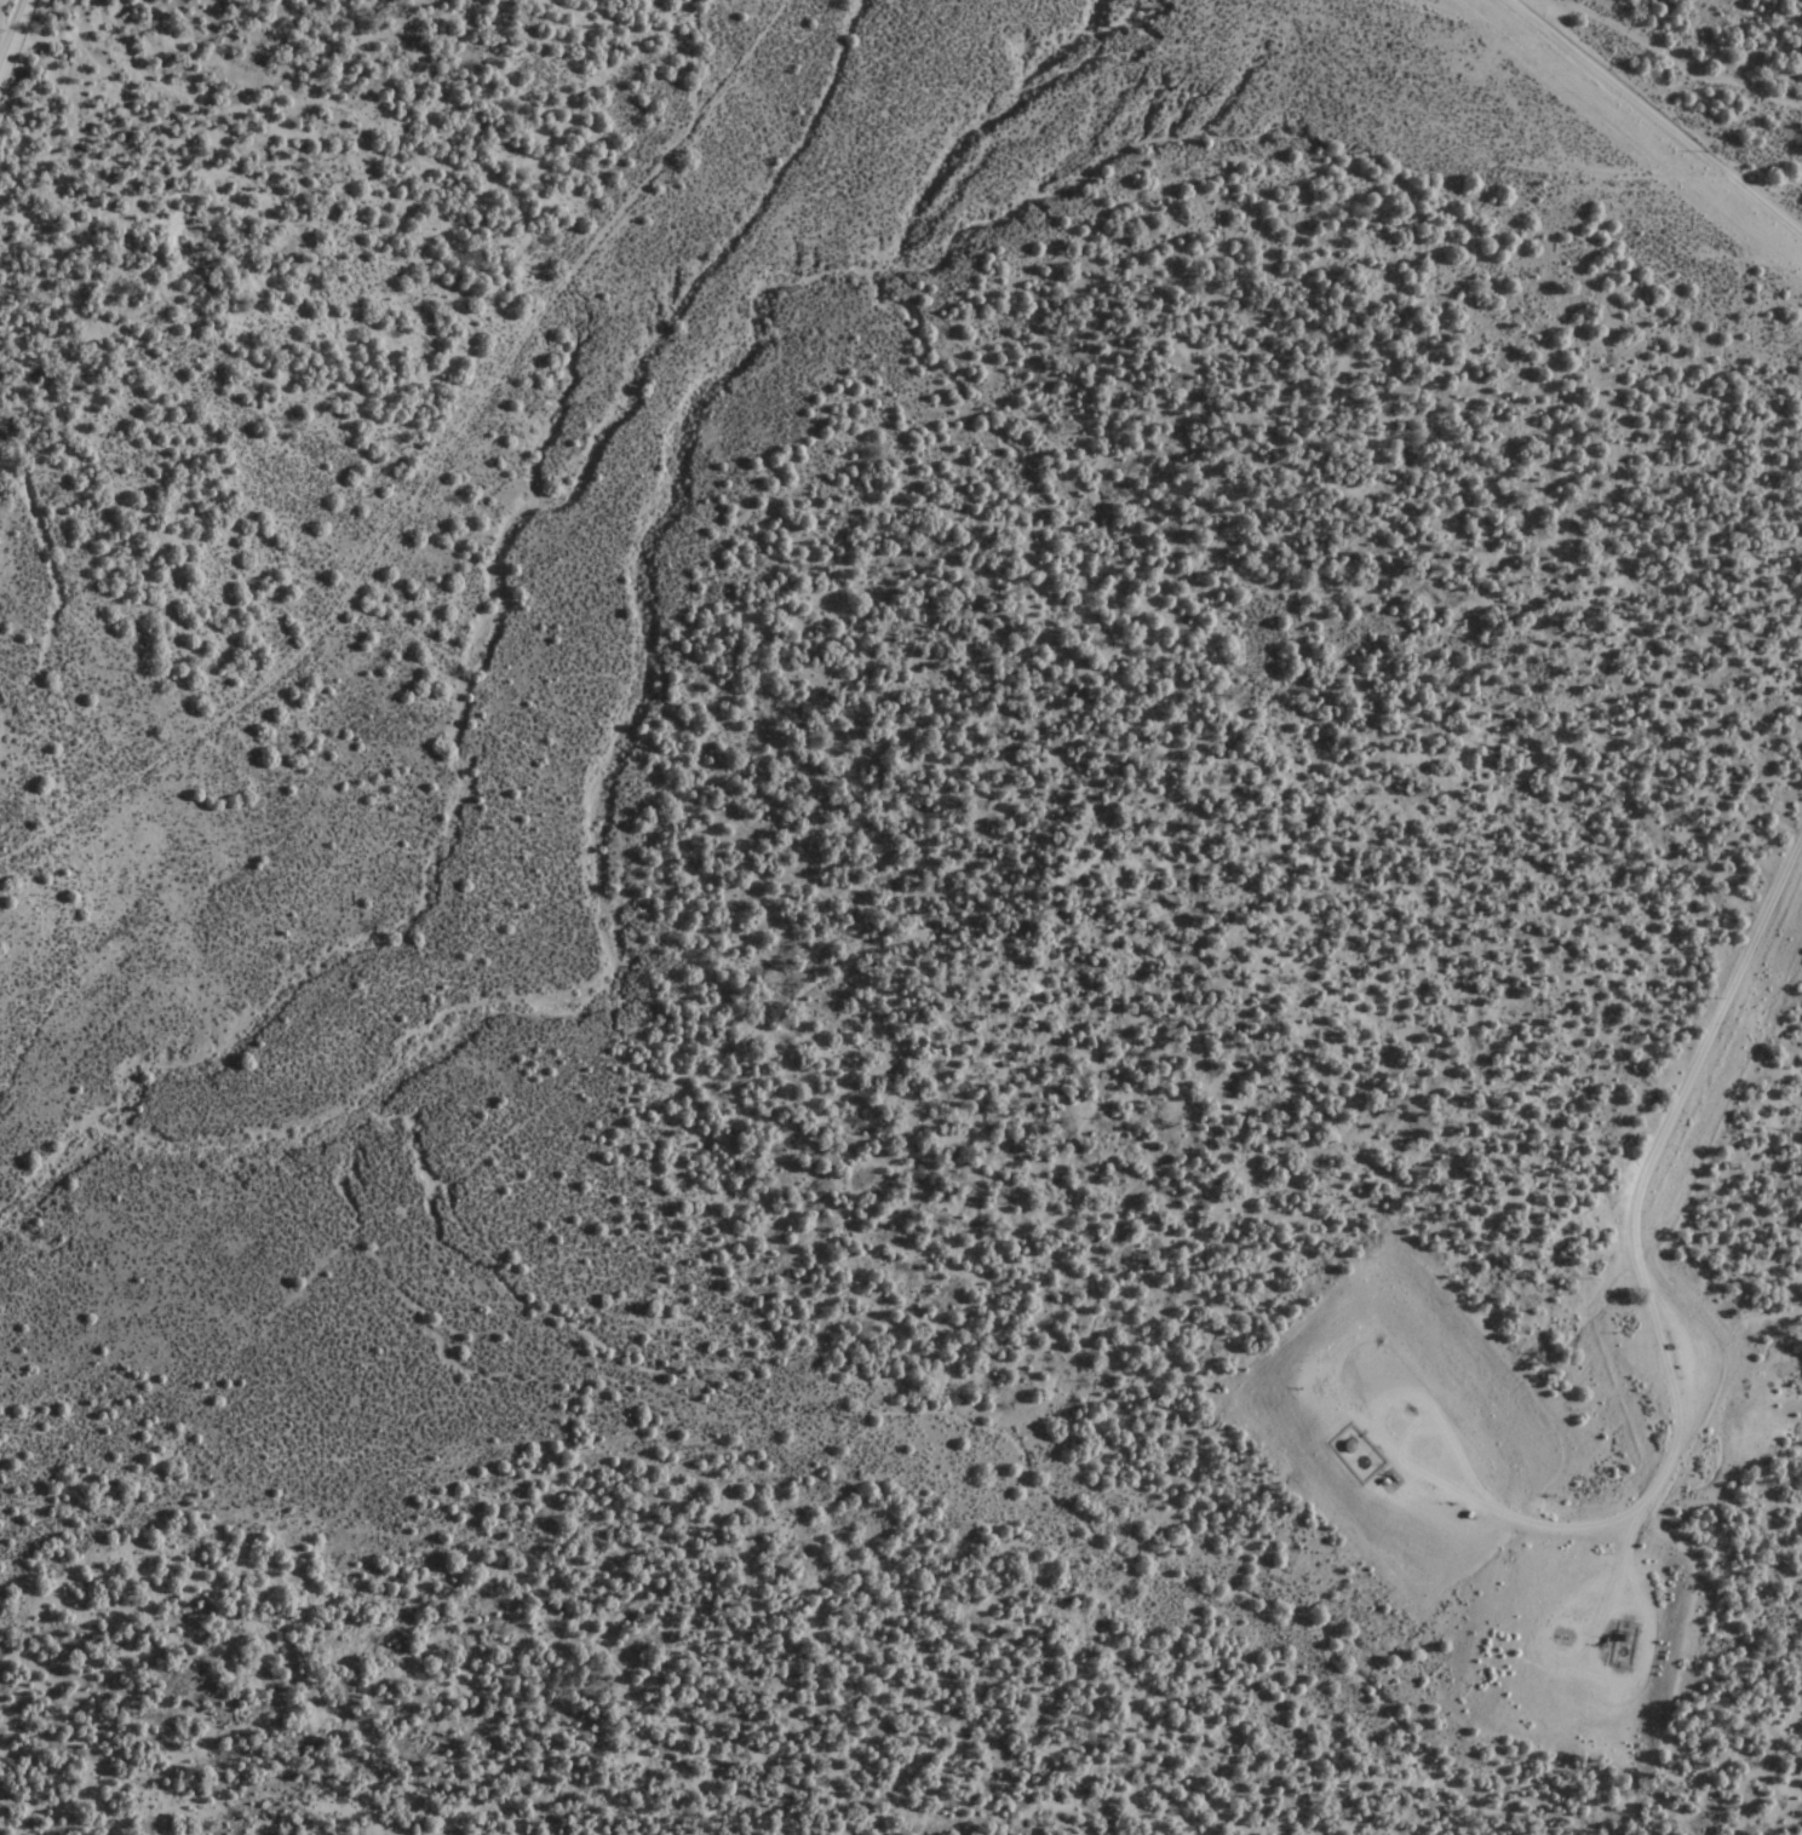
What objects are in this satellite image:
road: (18, 48)
road: (1680, 91)
road: (1628, 138)
river: (609, 712)

